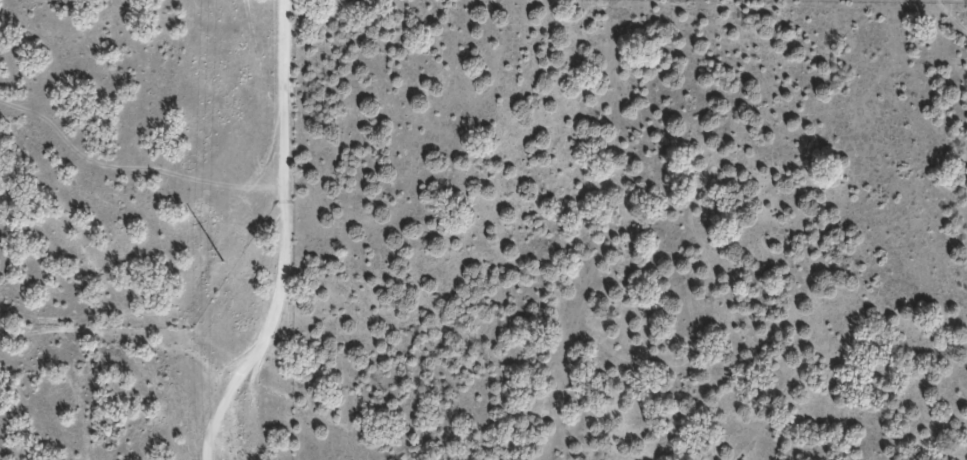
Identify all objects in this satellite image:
road: (956, 7)
road: (301, 237)
power tower: (223, 264)

